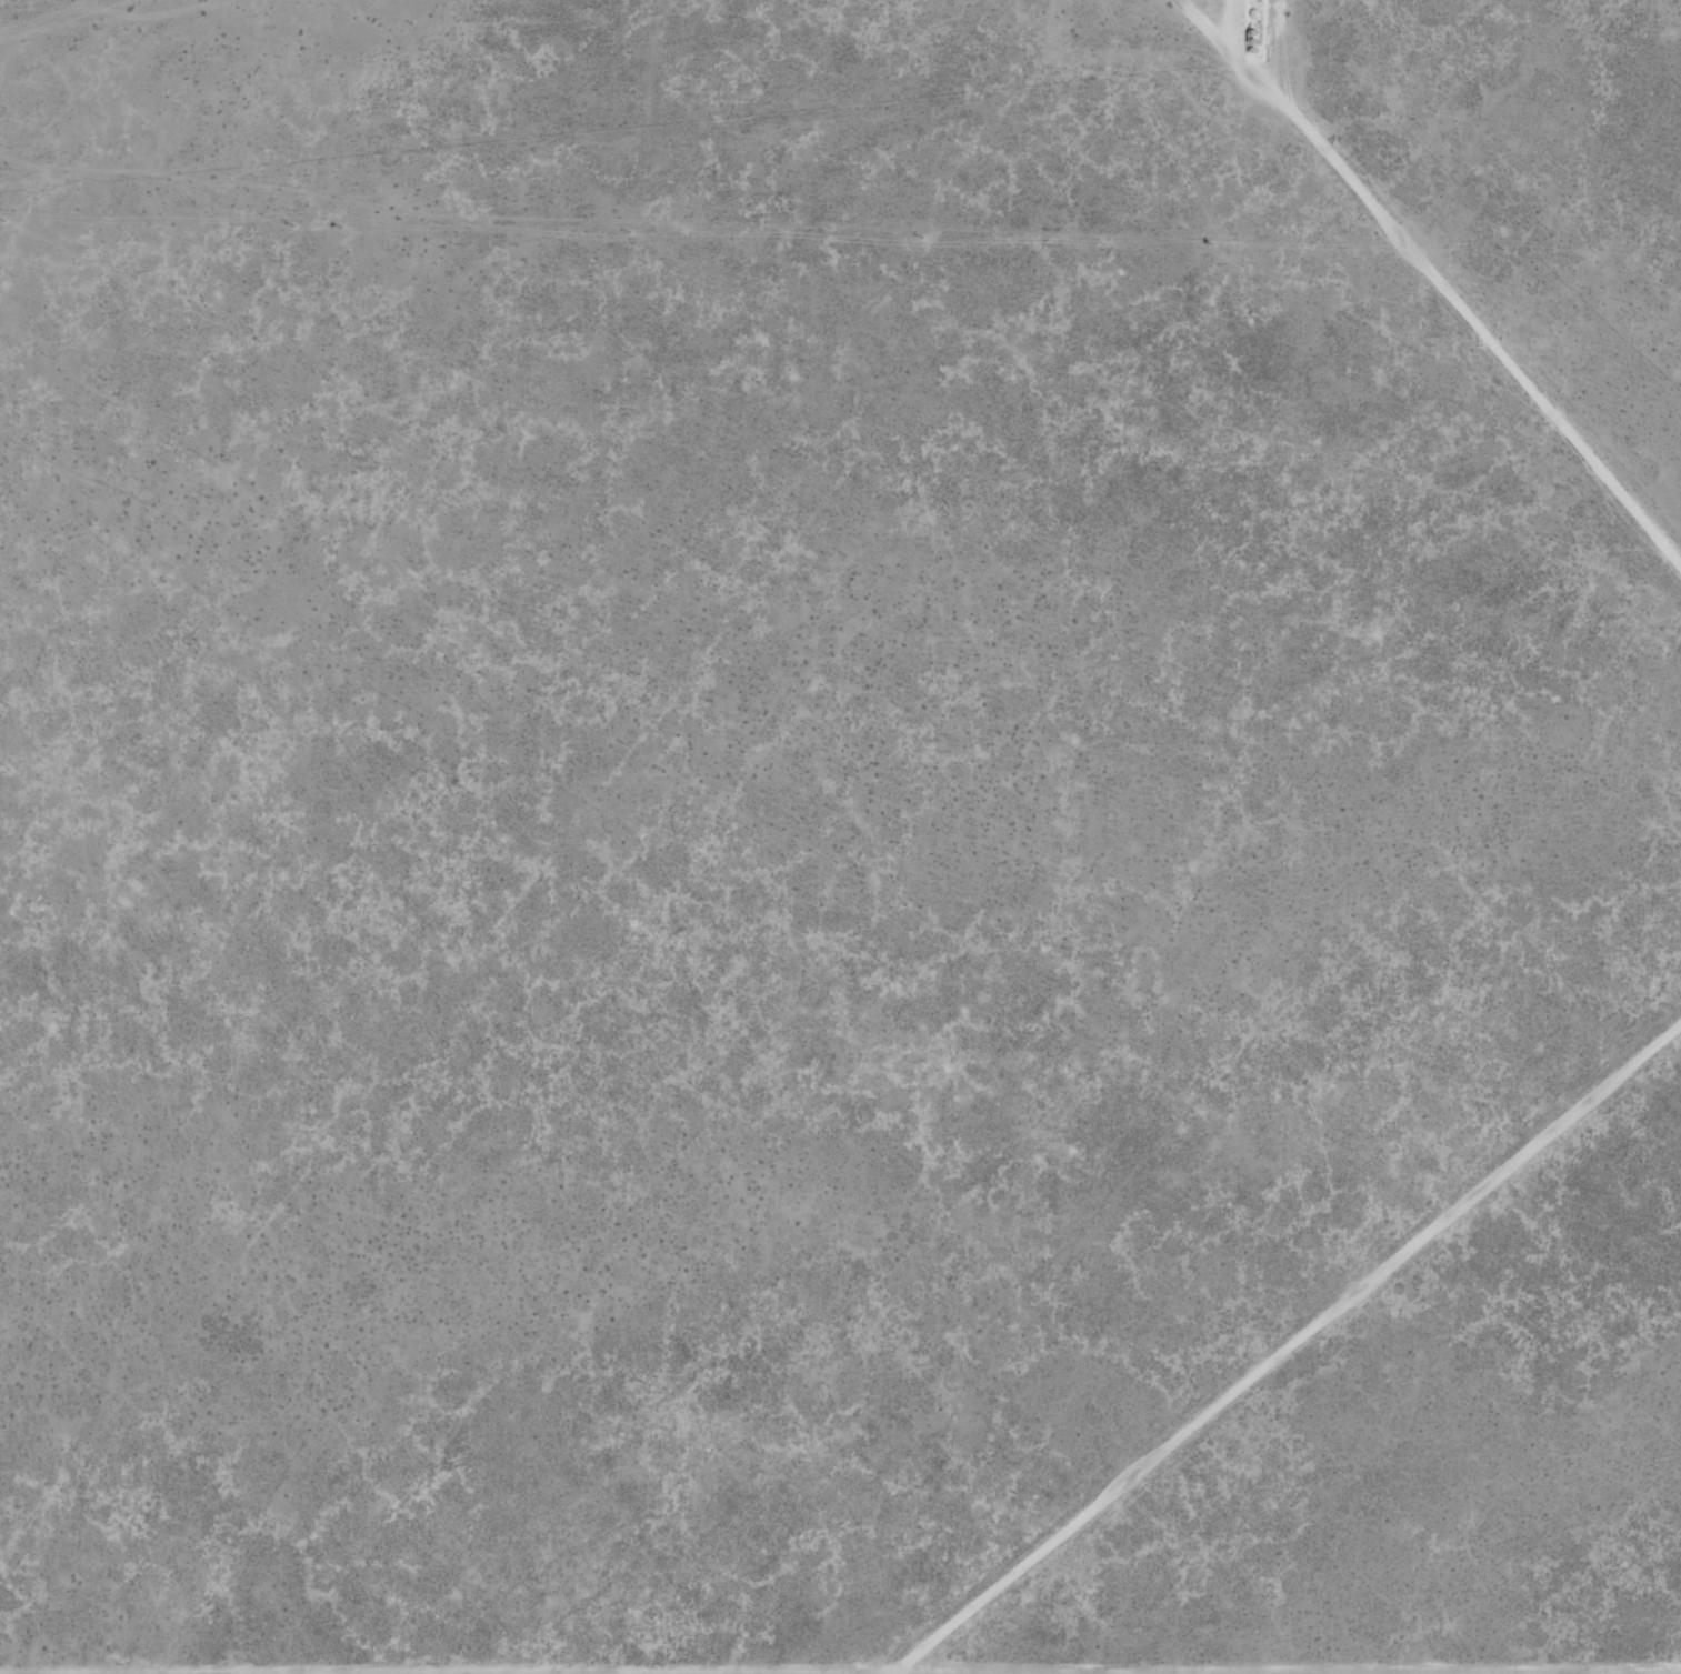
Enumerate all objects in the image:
road: (1440, 289)
road: (1288, 1351)

